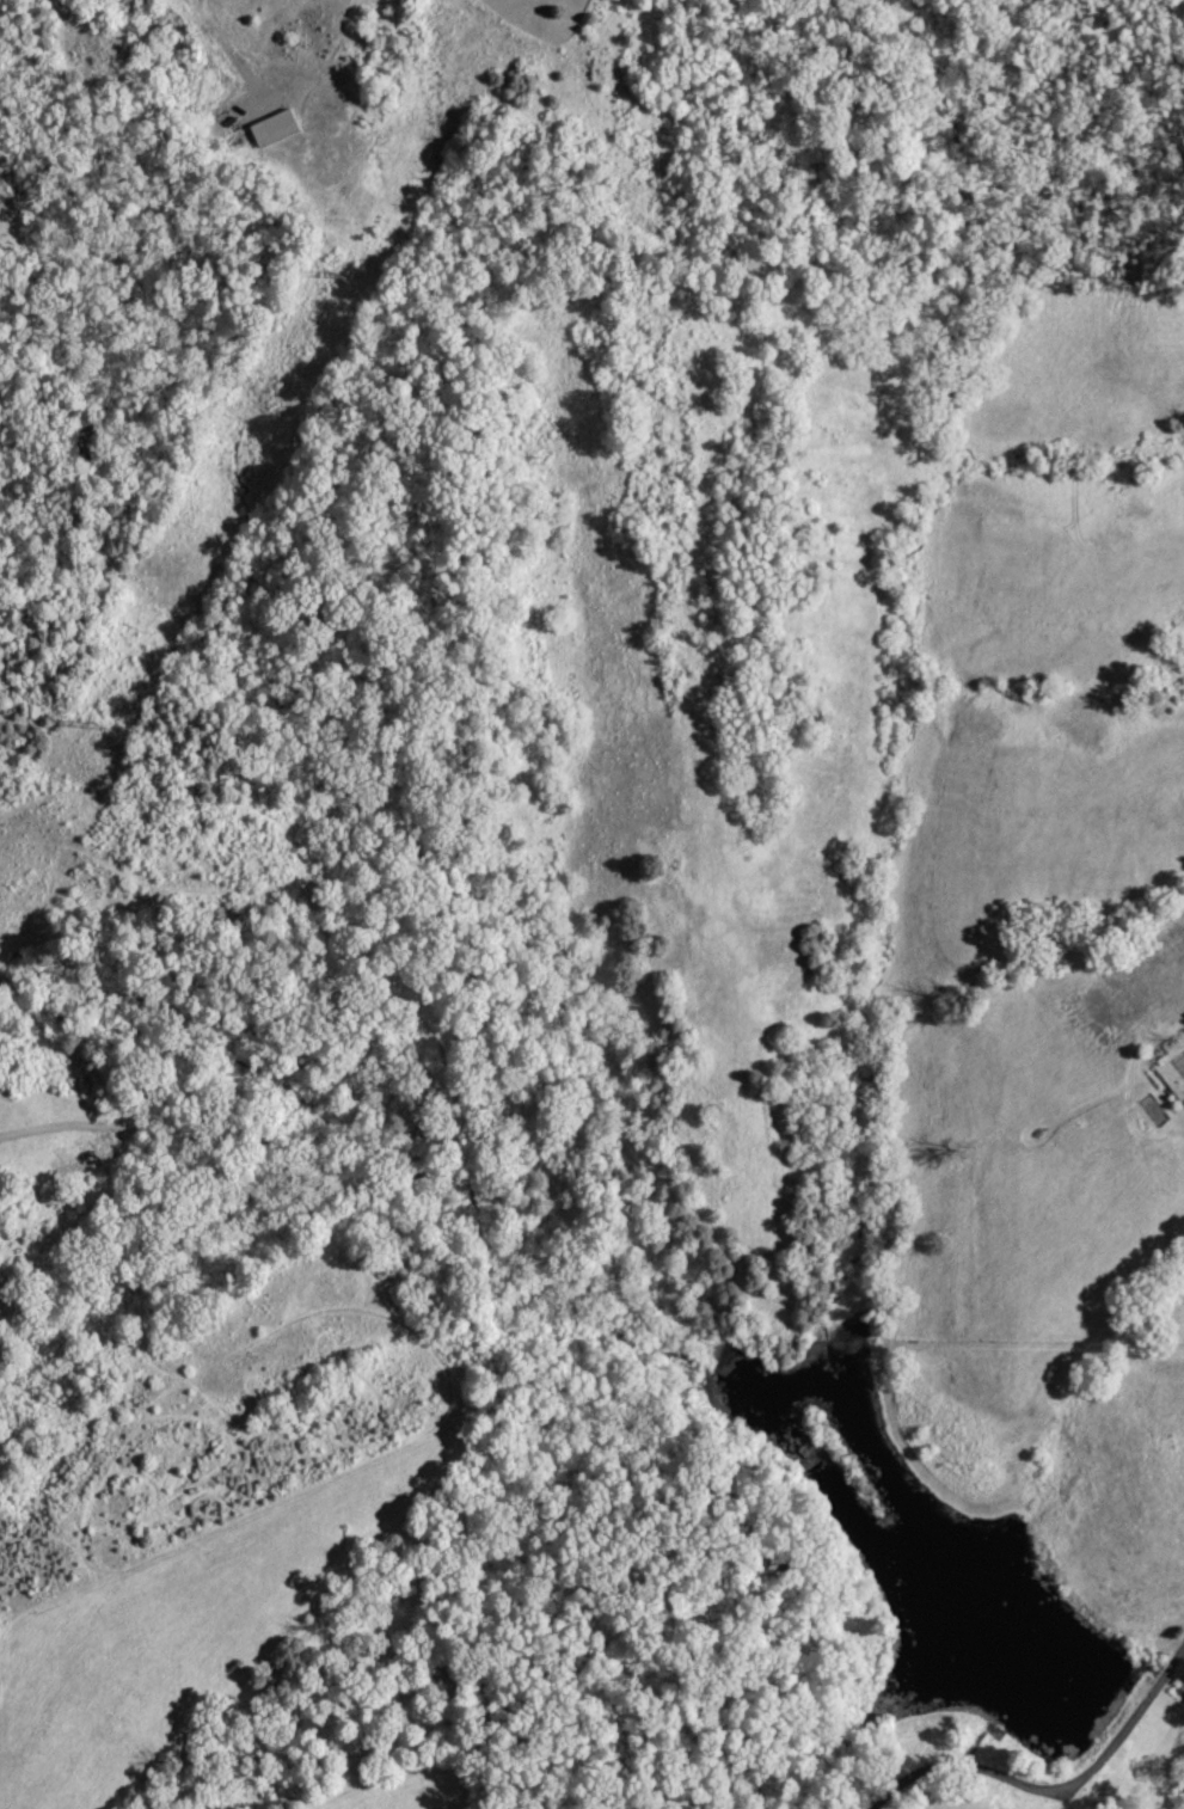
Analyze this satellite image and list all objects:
building: (278, 127)
road: (1041, 1779)

